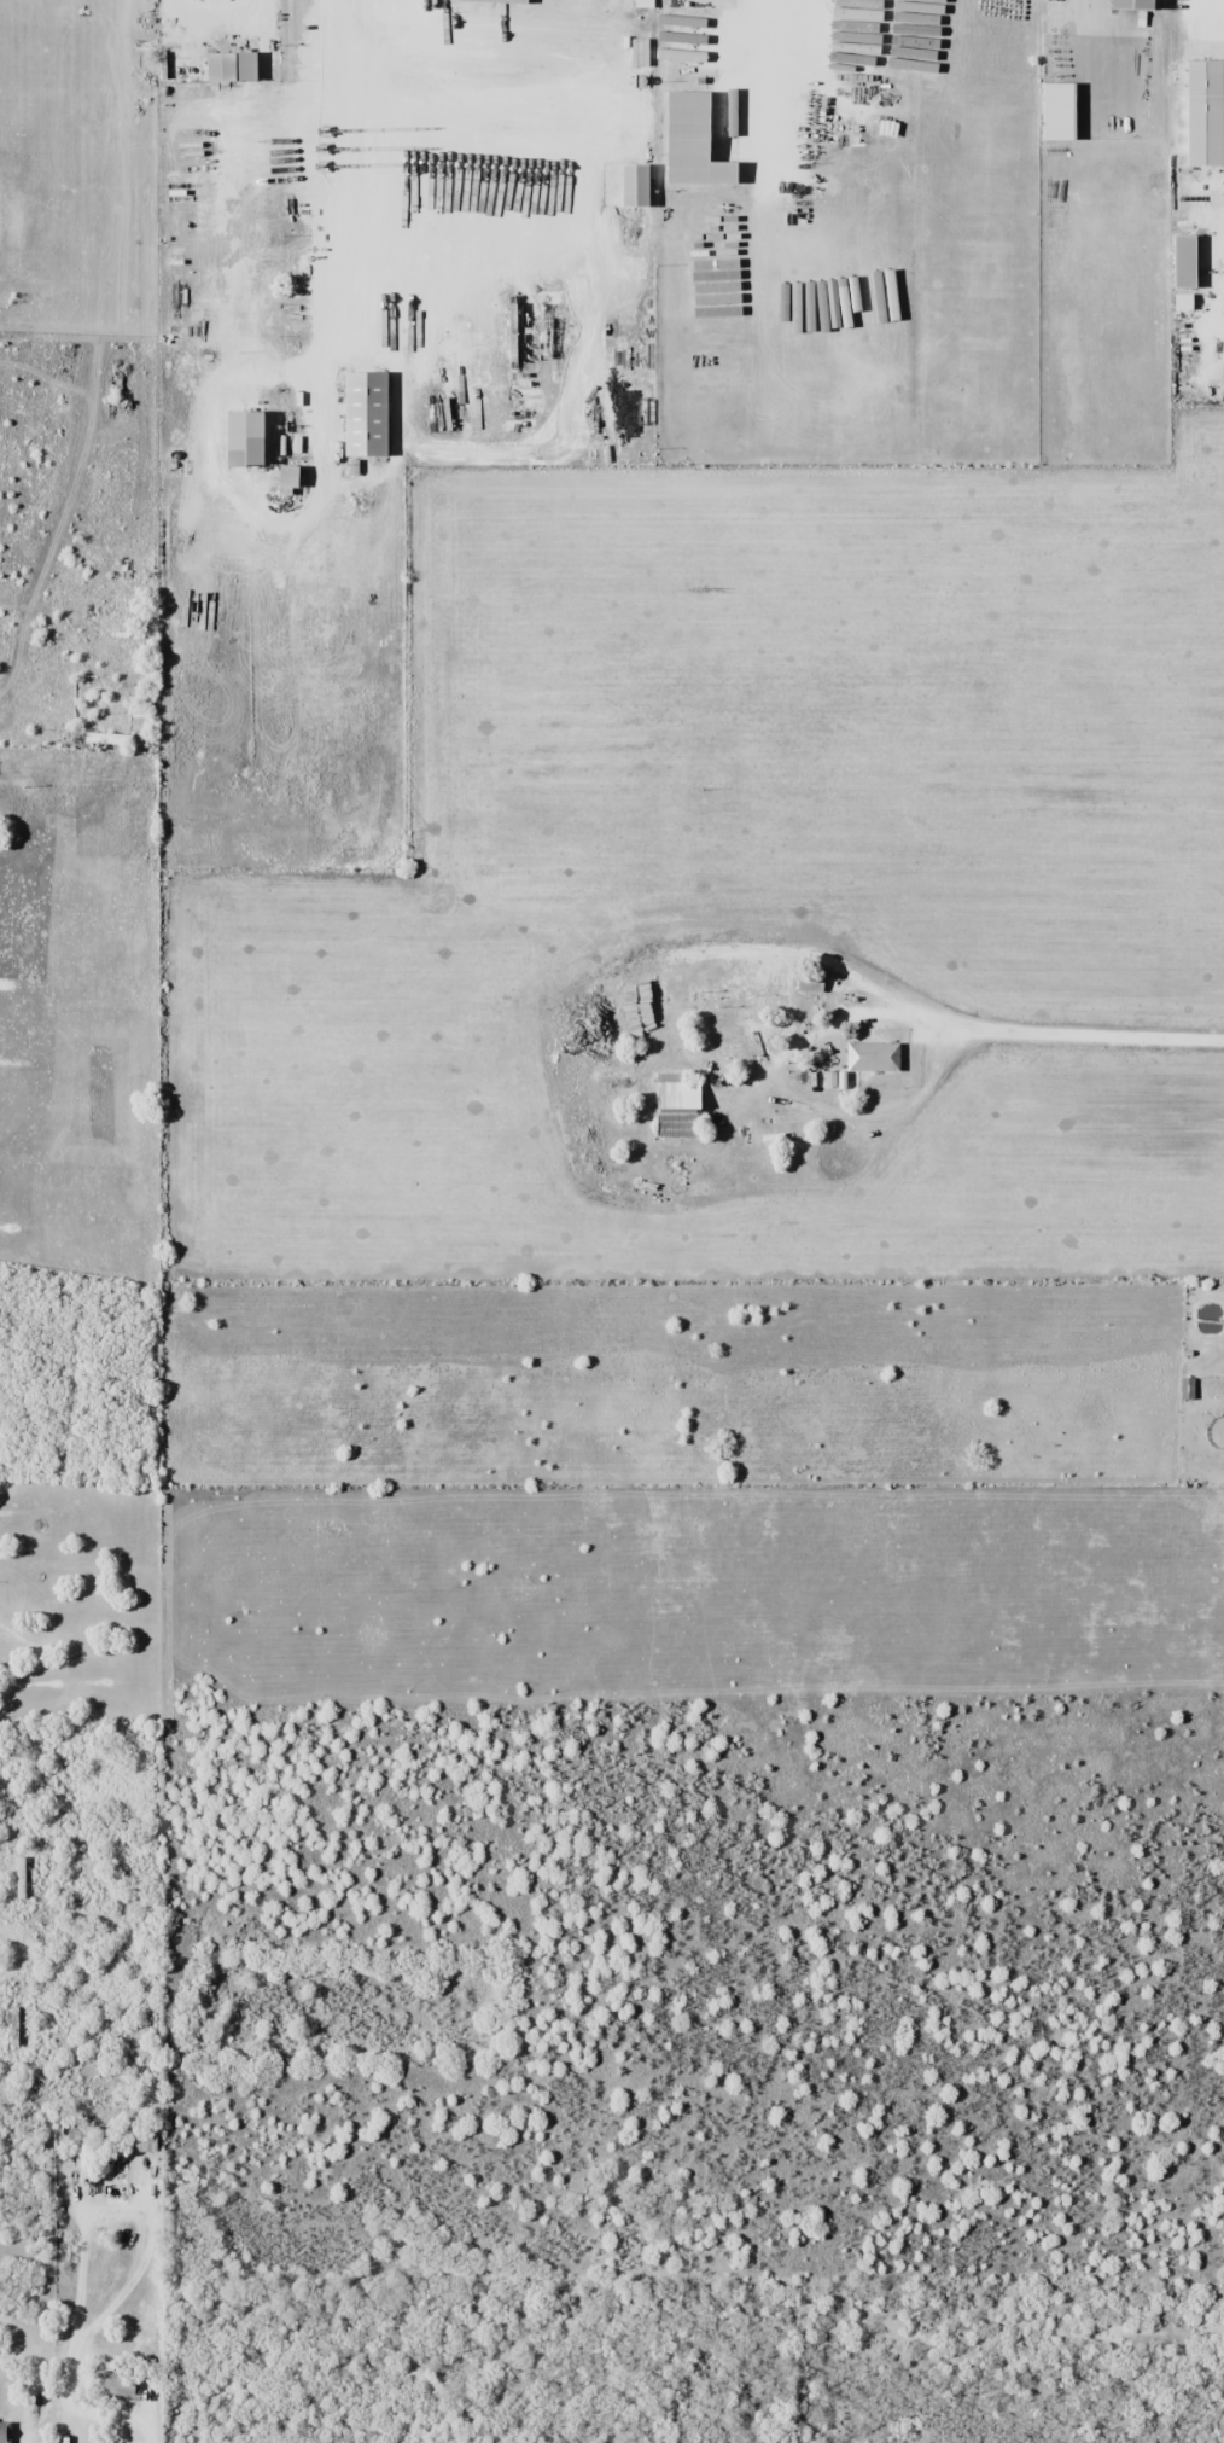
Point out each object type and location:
building: (497, 1)
building: (1135, 5)
building: (222, 68)
building: (805, 98)
building: (1059, 112)
building: (578, 399)
building: (366, 415)
building: (246, 440)
building: (290, 482)
building: (107, 739)
building: (873, 1057)
building: (677, 1112)
building: (1187, 1389)
building: (144, 2142)
building: (118, 2386)

